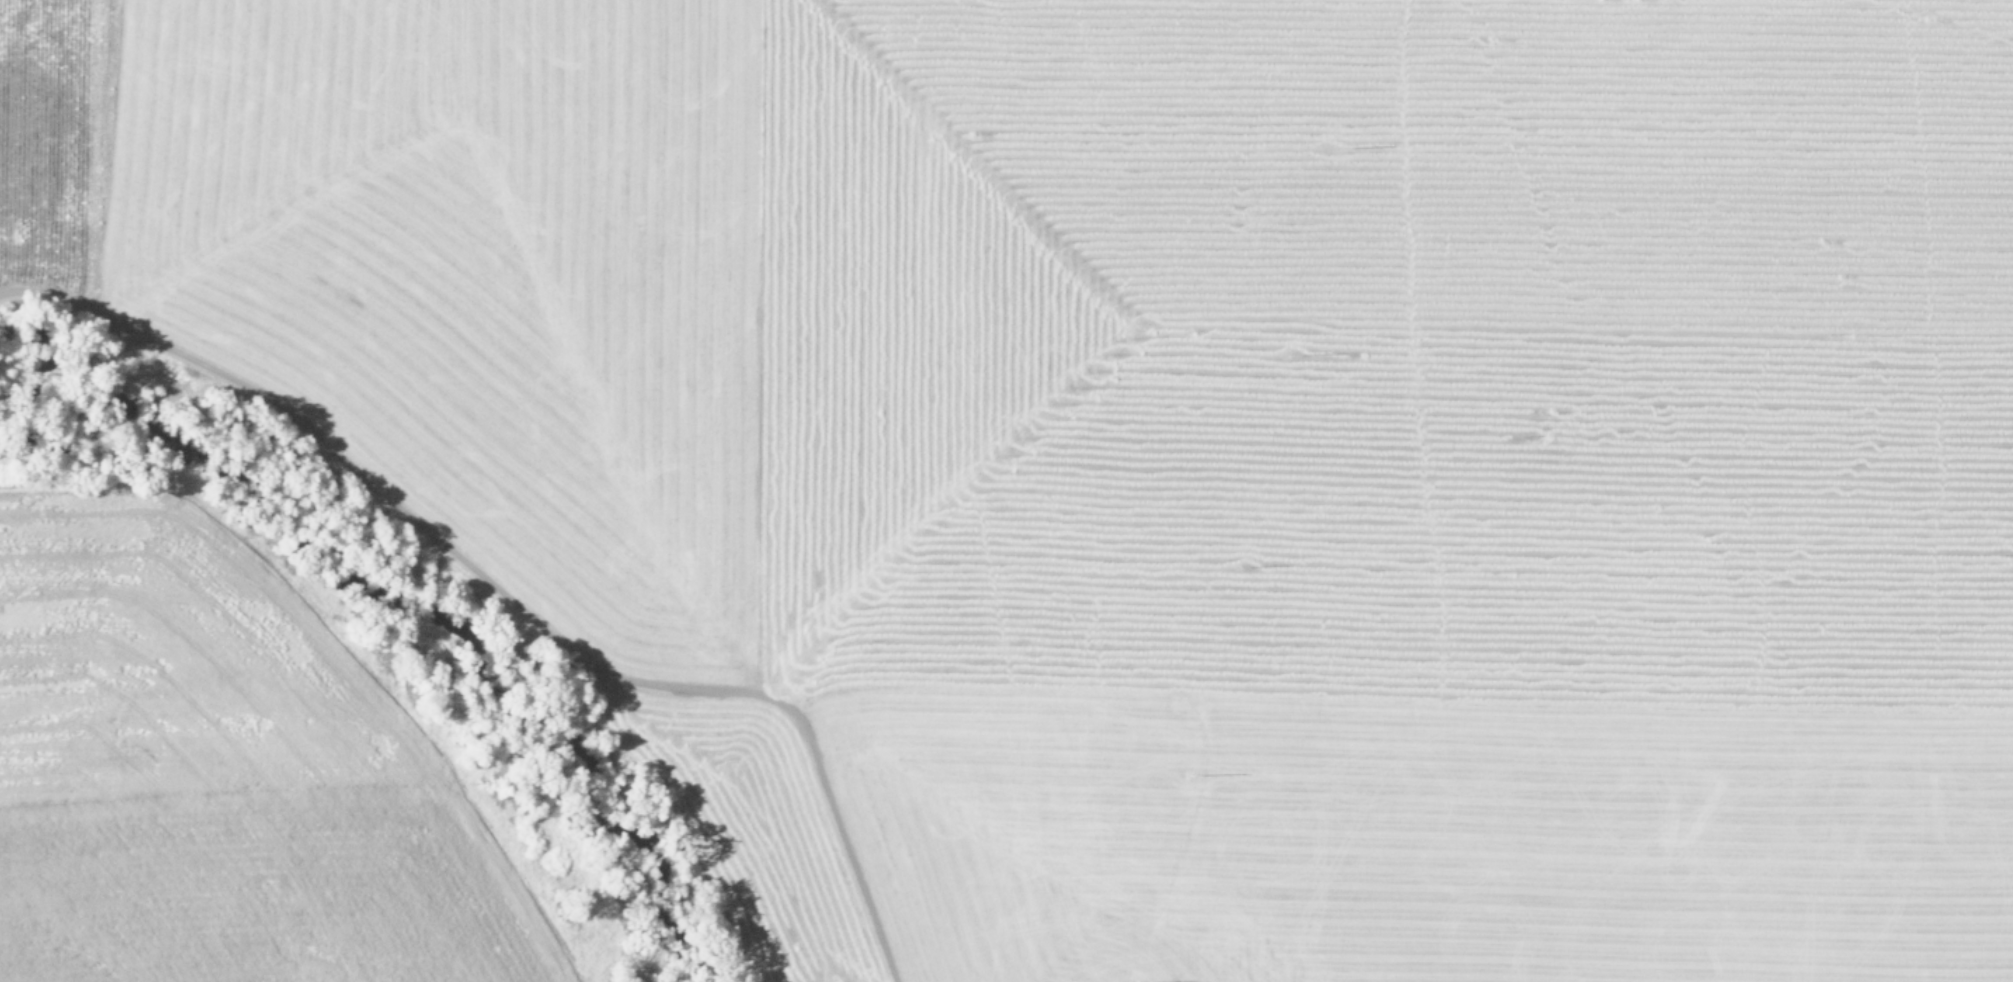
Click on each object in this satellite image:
crop: (1170, 439)

